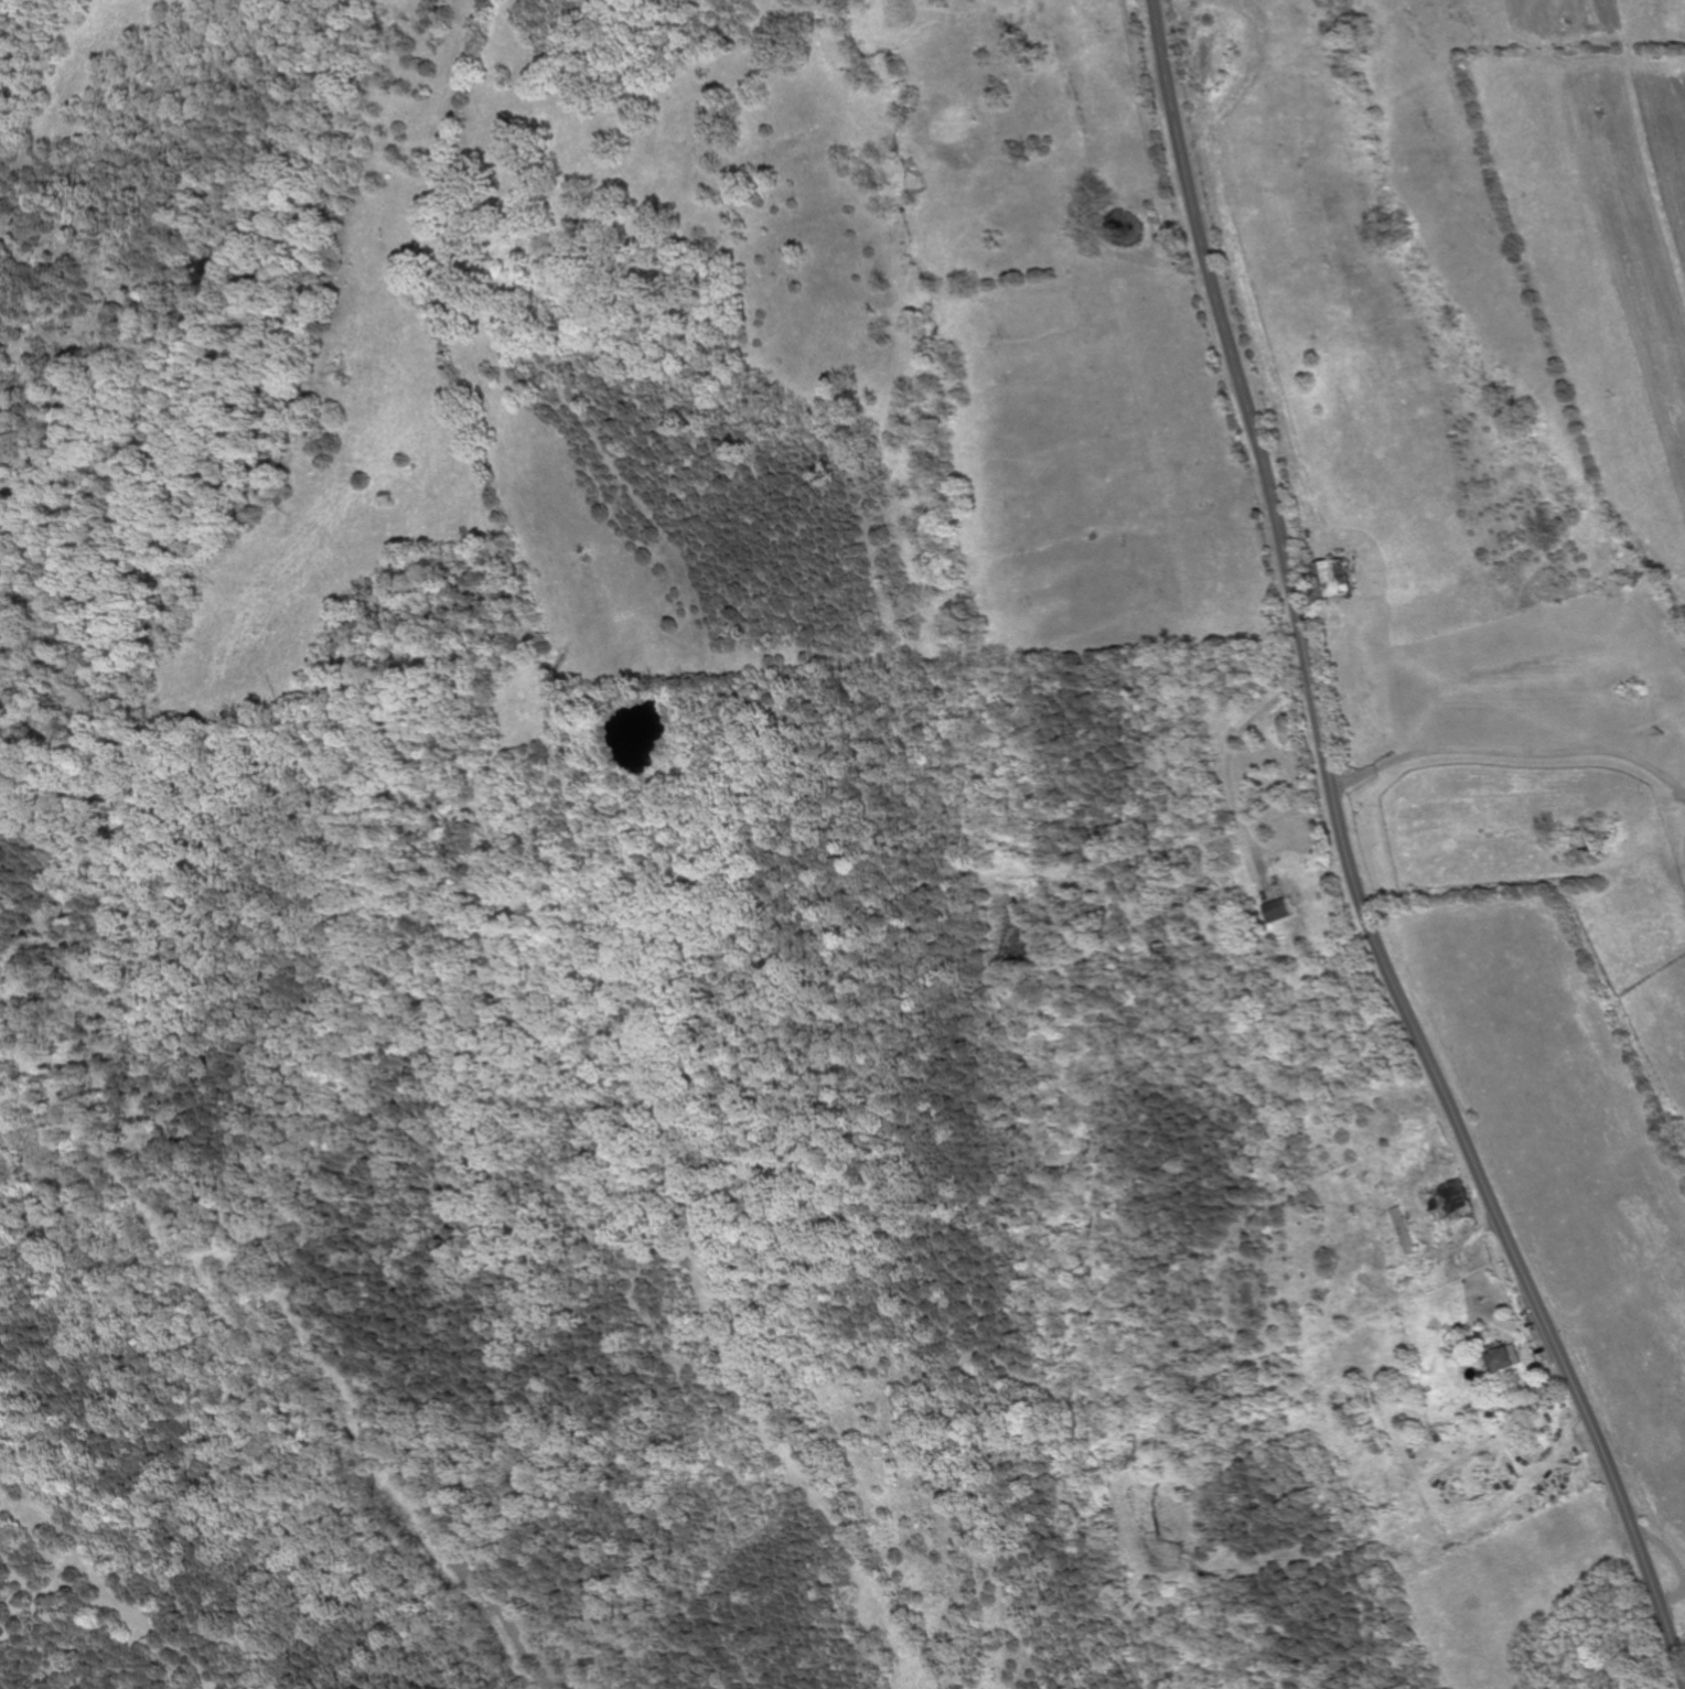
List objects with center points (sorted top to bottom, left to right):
road: (1511, 754)
road: (1352, 865)
building: (1271, 911)
building: (1449, 1198)
building: (1503, 1359)
road: (1664, 1545)
road: (1670, 1609)

